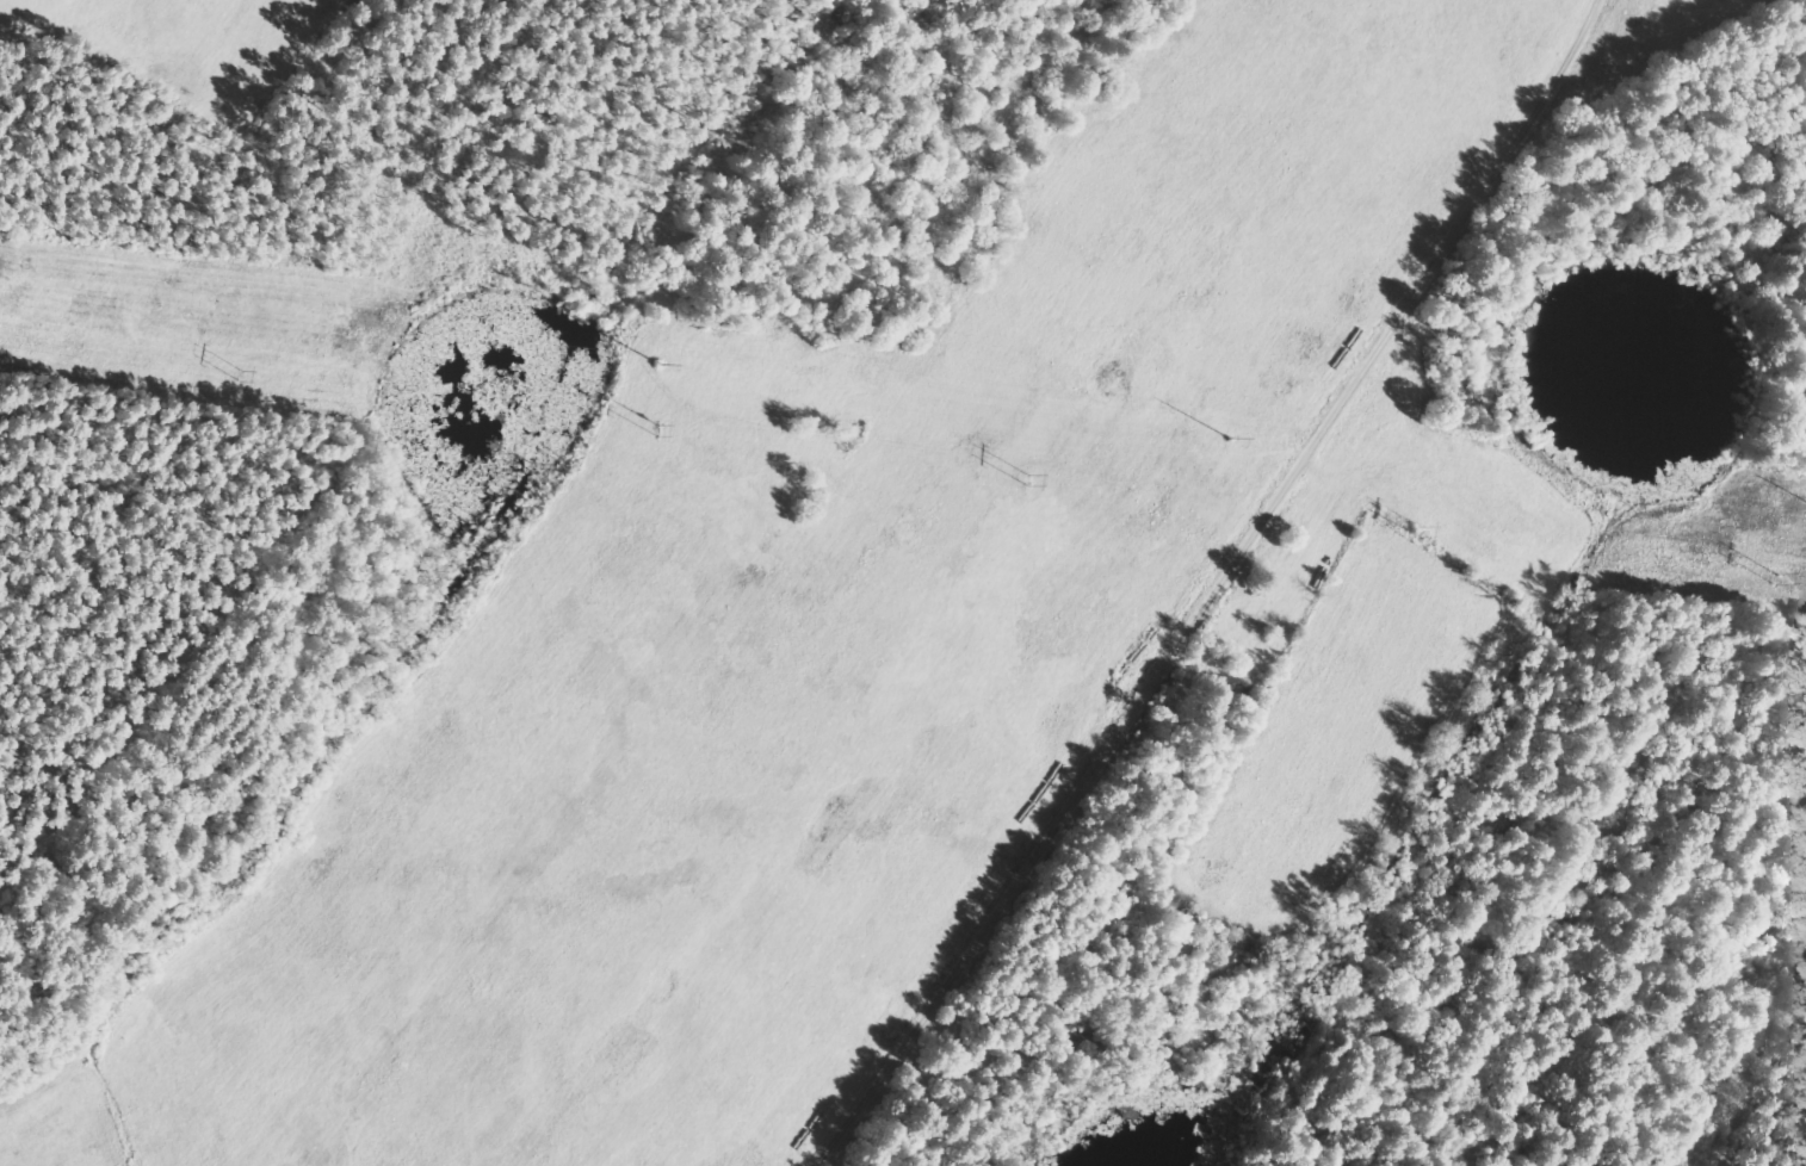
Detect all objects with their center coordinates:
power tower: (13, 277)
power tower: (658, 364)
power tower: (1231, 438)
road: (1218, 589)

